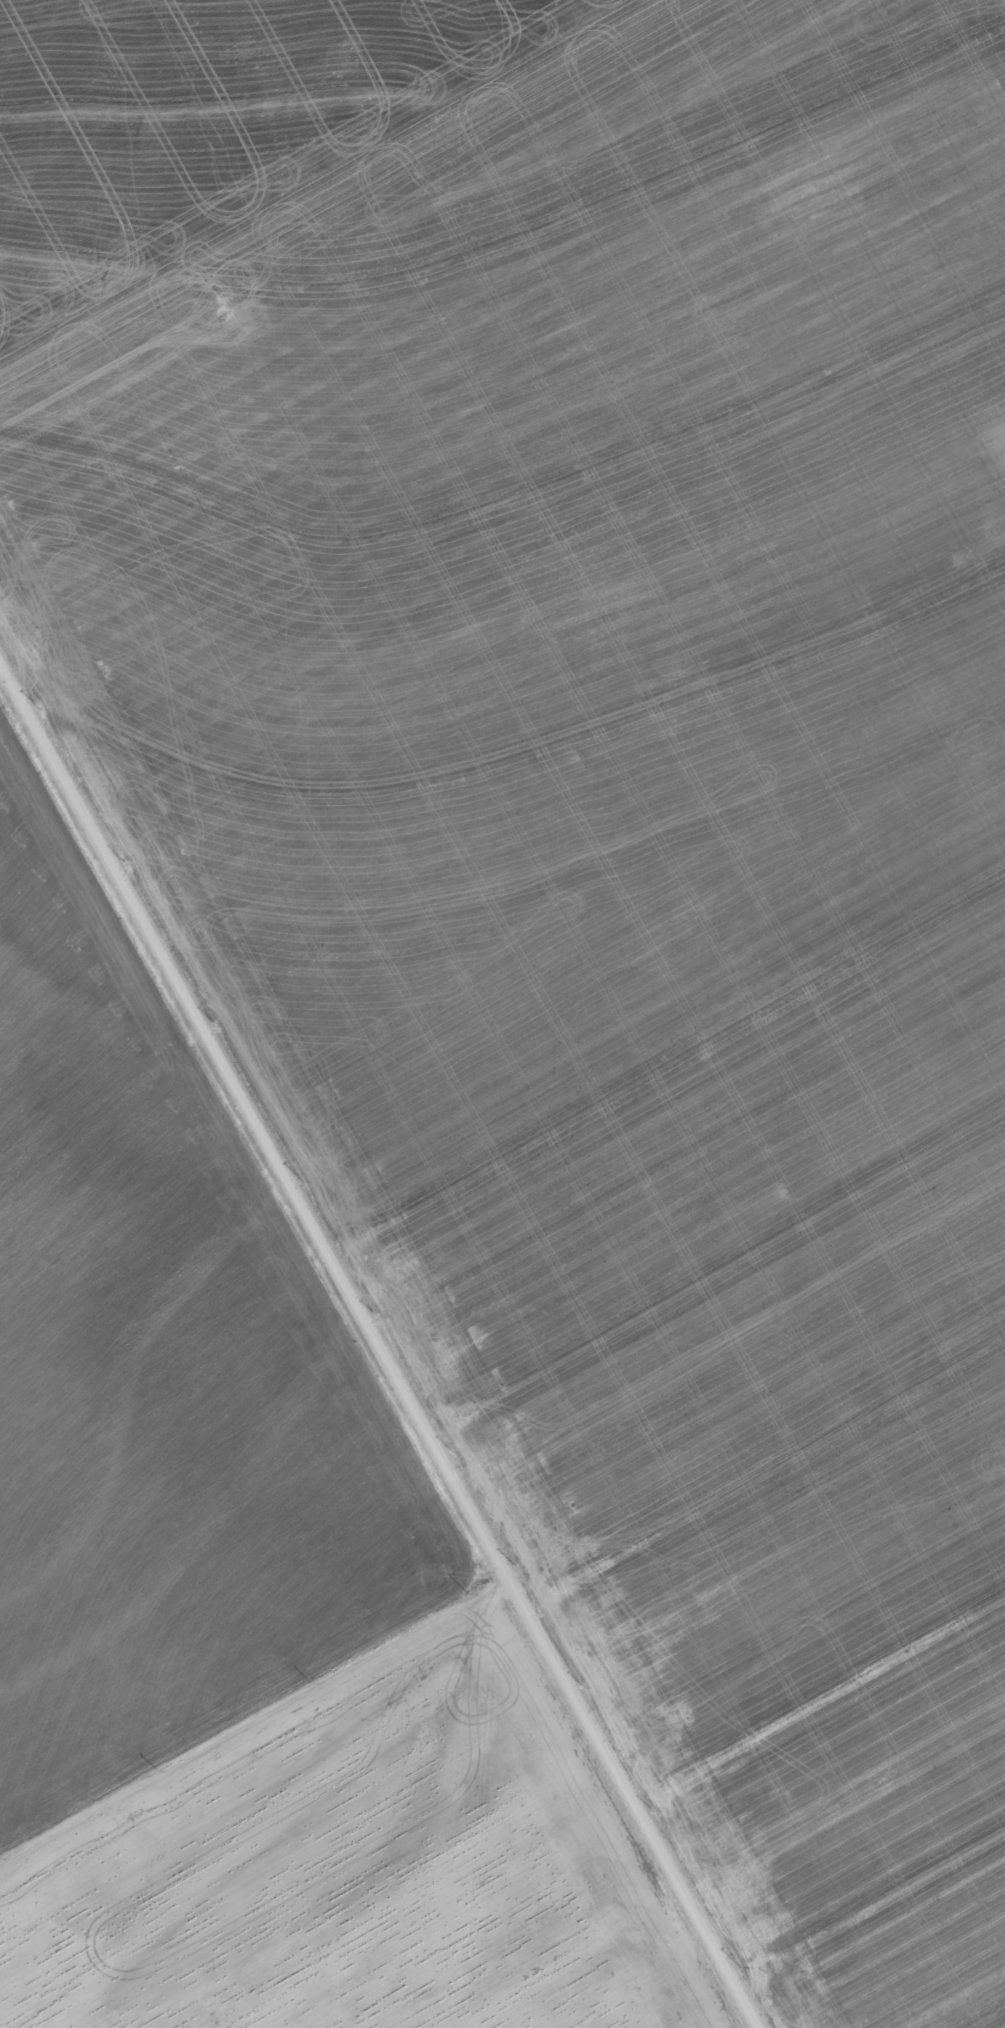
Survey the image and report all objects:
road: (694, 1919)

